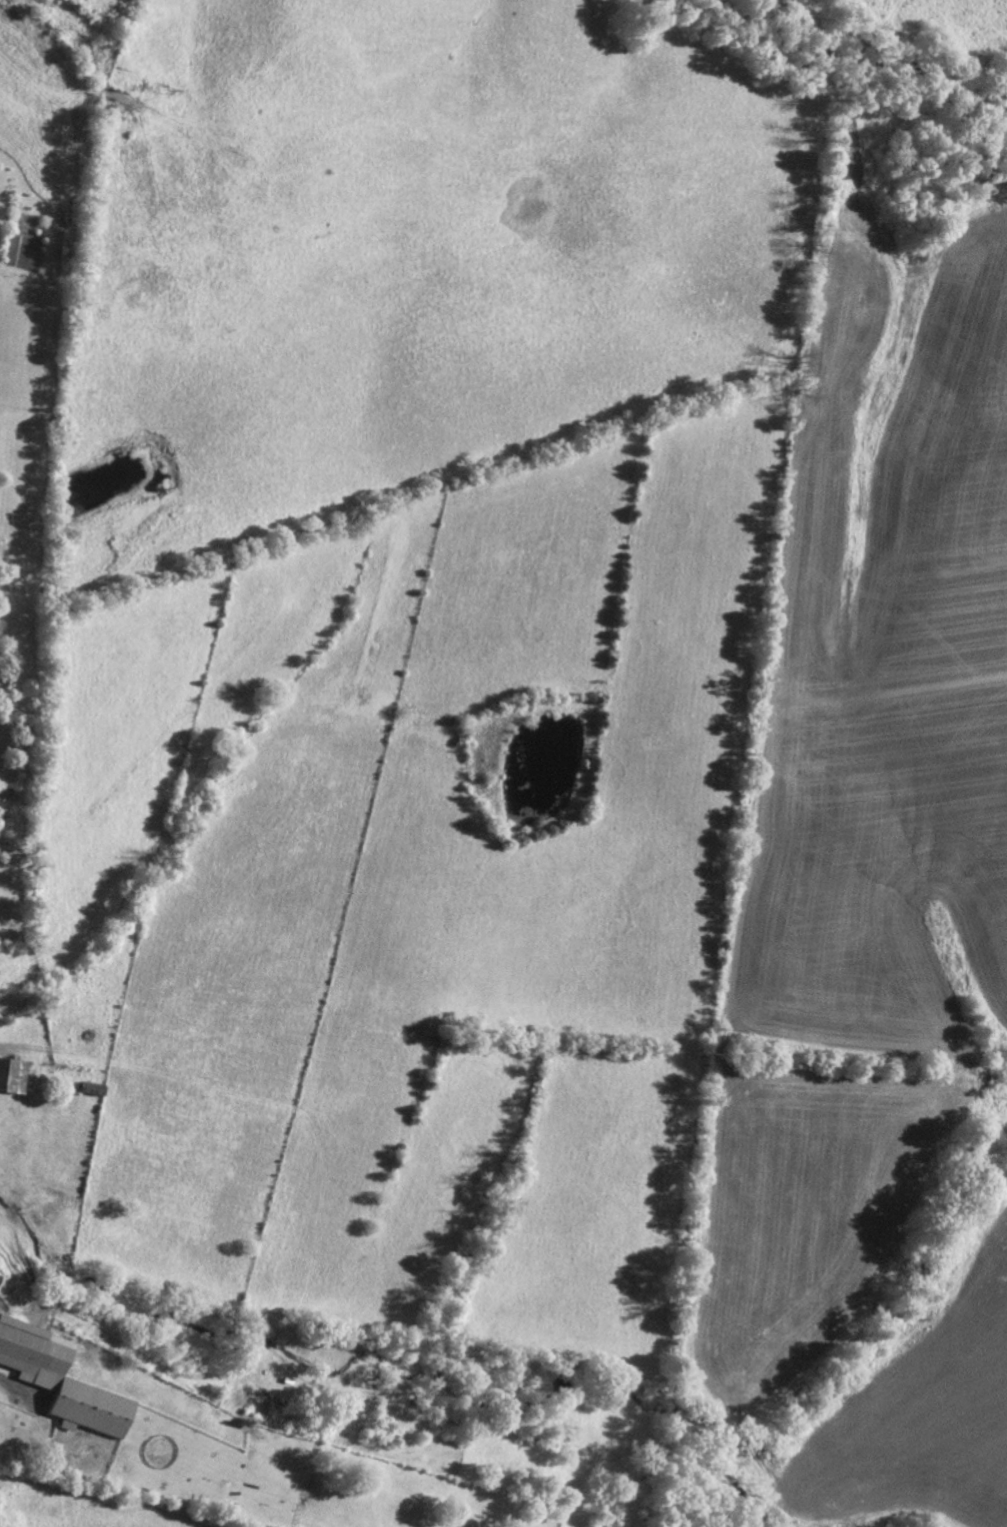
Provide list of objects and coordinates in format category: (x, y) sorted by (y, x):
road: (17, 14)
building: (15, 1076)
building: (1, 1279)
building: (65, 1379)

